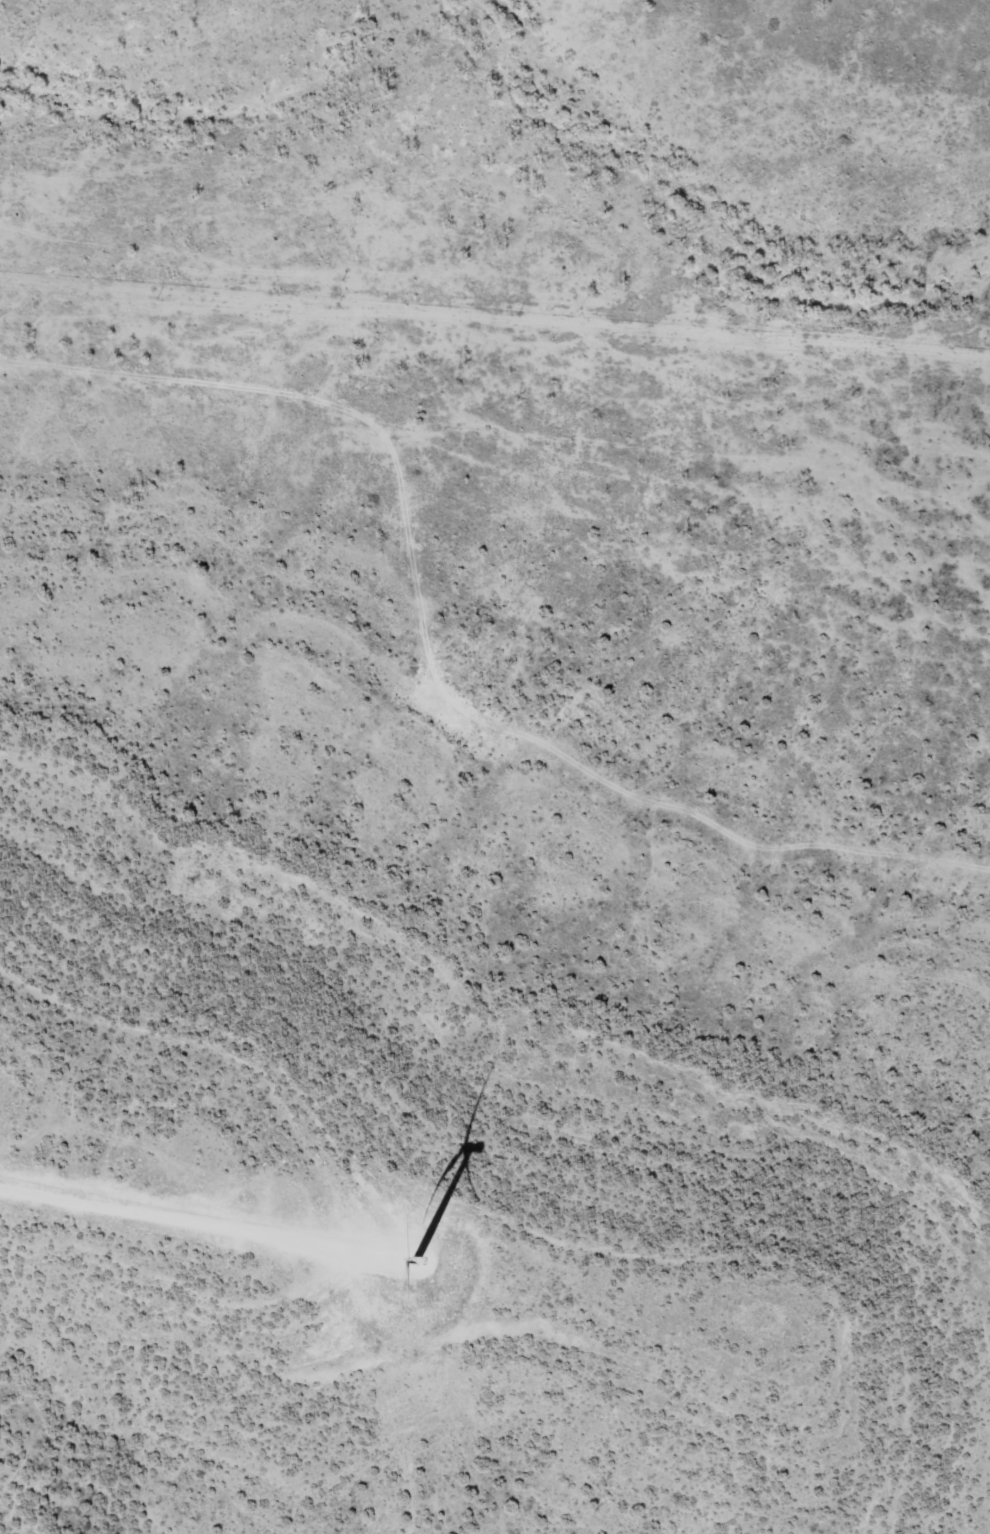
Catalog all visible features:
road: (298, 368)
wind turbine: (410, 1265)

